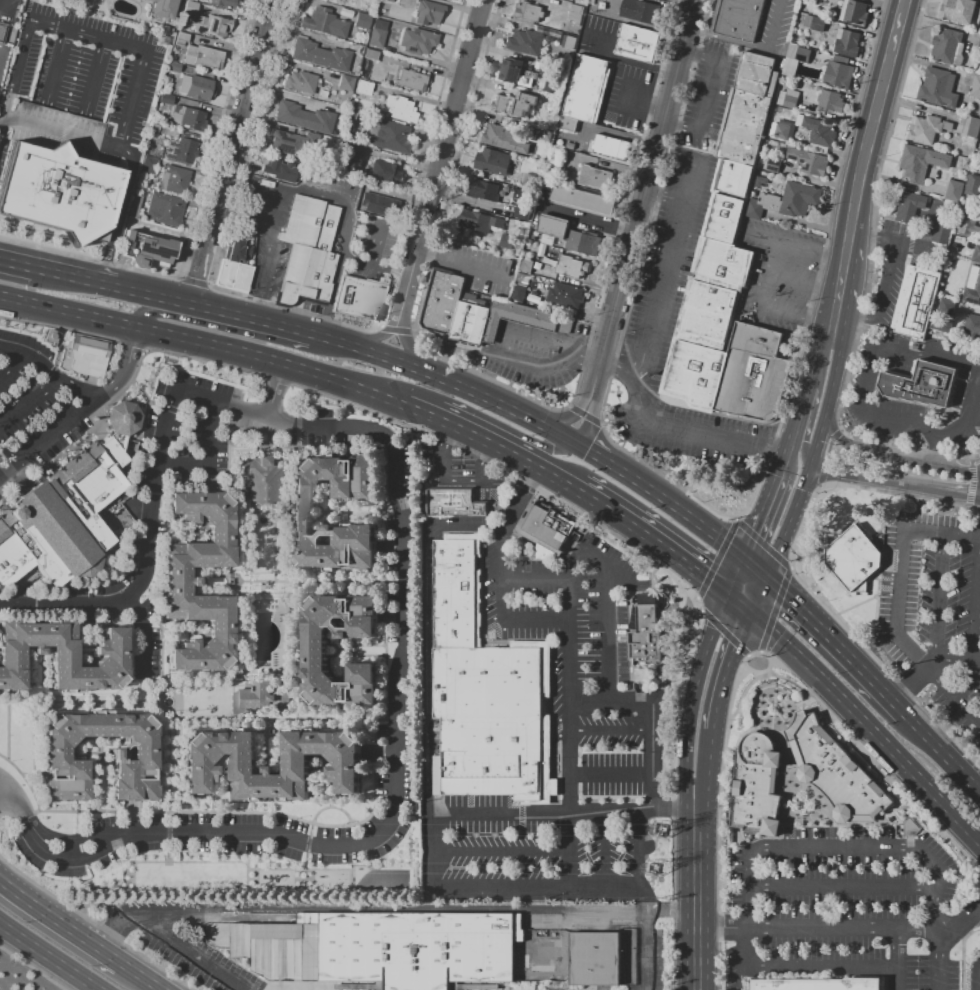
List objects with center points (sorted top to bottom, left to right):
building: (388, 0)
building: (225, 4)
road: (4, 8)
building: (162, 8)
building: (191, 9)
building: (640, 10)
building: (958, 11)
building: (529, 12)
building: (427, 13)
building: (576, 13)
building: (856, 13)
building: (738, 19)
building: (362, 21)
building: (323, 23)
building: (820, 25)
building: (212, 26)
road: (84, 33)
building: (377, 33)
building: (5, 37)
building: (182, 38)
building: (416, 42)
building: (526, 42)
building: (637, 43)
building: (847, 43)
building: (978, 44)
road: (749, 45)
building: (948, 47)
building: (370, 54)
building: (320, 55)
building: (805, 56)
building: (203, 57)
road: (57, 62)
building: (173, 67)
building: (513, 73)
road: (96, 75)
building: (838, 75)
building: (409, 81)
building: (298, 82)
building: (345, 83)
building: (975, 87)
building: (363, 88)
building: (585, 88)
building: (938, 88)
building: (200, 89)
building: (787, 98)
road: (706, 101)
building: (831, 101)
building: (516, 105)
building: (399, 109)
building: (747, 110)
building: (303, 118)
building: (190, 120)
road: (877, 122)
building: (567, 123)
road: (673, 125)
building: (971, 127)
building: (924, 129)
building: (782, 130)
building: (818, 132)
road: (62, 133)
road: (615, 134)
building: (545, 136)
building: (387, 137)
building: (497, 138)
building: (291, 143)
building: (611, 146)
road: (230, 150)
building: (180, 151)
building: (351, 158)
building: (493, 161)
building: (915, 163)
building: (815, 164)
road: (441, 165)
building: (148, 166)
building: (773, 166)
building: (279, 171)
building: (385, 172)
building: (315, 173)
building: (599, 175)
building: (734, 179)
building: (174, 180)
building: (531, 180)
building: (761, 181)
building: (597, 184)
building: (973, 186)
building: (954, 190)
building: (58, 191)
building: (485, 191)
building: (521, 196)
road: (642, 197)
road: (667, 198)
building: (799, 199)
road: (469, 201)
building: (583, 201)
building: (373, 203)
building: (762, 205)
building: (909, 206)
building: (164, 209)
road: (119, 213)
building: (521, 213)
building: (724, 218)
road: (587, 219)
building: (482, 222)
building: (309, 224)
road: (349, 226)
building: (968, 227)
building: (940, 232)
building: (569, 235)
road: (873, 237)
building: (372, 239)
road: (784, 243)
building: (962, 243)
road: (272, 244)
building: (146, 248)
building: (237, 251)
building: (976, 254)
road: (834, 257)
road: (18, 262)
road: (376, 264)
building: (722, 264)
building: (957, 266)
building: (570, 267)
road: (766, 272)
road: (672, 273)
building: (226, 274)
building: (306, 276)
building: (242, 278)
road: (89, 279)
road: (791, 280)
road: (841, 286)
road: (828, 291)
building: (519, 292)
building: (973, 293)
building: (565, 295)
road: (330, 296)
road: (879, 298)
building: (361, 299)
building: (435, 301)
building: (916, 301)
building: (451, 306)
road: (259, 309)
road: (228, 310)
road: (148, 312)
road: (784, 312)
building: (705, 315)
building: (943, 316)
building: (520, 320)
road: (821, 323)
building: (472, 325)
building: (972, 327)
road: (513, 335)
building: (52, 336)
road: (376, 339)
road: (204, 347)
road: (412, 350)
road: (928, 352)
building: (60, 354)
building: (89, 355)
road: (614, 360)
road: (812, 362)
road: (837, 364)
road: (10, 365)
road: (46, 373)
building: (693, 374)
building: (753, 374)
road: (447, 379)
building: (921, 384)
road: (275, 392)
road: (28, 402)
road: (79, 408)
parking lot: (41, 409)
traffic signals: (577, 415)
building: (124, 418)
road: (562, 419)
road: (590, 421)
road: (671, 427)
road: (912, 430)
road: (474, 431)
road: (820, 434)
road: (794, 435)
road: (801, 437)
road: (553, 448)
traffic signals: (549, 450)
traffic signals: (801, 450)
road: (591, 452)
traffic signals: (592, 453)
road: (770, 453)
road: (889, 456)
road: (209, 461)
parking lot: (458, 467)
road: (559, 477)
building: (261, 480)
road: (892, 480)
road: (455, 483)
road: (977, 491)
traffic signals: (804, 492)
building: (456, 502)
road: (678, 512)
building: (299, 513)
road: (766, 516)
building: (66, 517)
road: (791, 524)
road: (632, 525)
building: (549, 528)
building: (852, 558)
traffic signals: (746, 564)
road: (902, 569)
road: (756, 572)
road: (707, 579)
road: (738, 580)
building: (180, 581)
road: (557, 581)
traffic signals: (767, 581)
road: (134, 591)
traffic signals: (730, 597)
road: (760, 597)
road: (942, 599)
road: (610, 601)
road: (741, 605)
road: (66, 607)
parking lot: (935, 610)
road: (975, 610)
traffic signals: (753, 614)
road: (546, 623)
building: (649, 636)
road: (406, 639)
road: (143, 642)
road: (788, 644)
road: (840, 644)
building: (314, 649)
building: (65, 657)
road: (735, 657)
building: (85, 658)
road: (932, 666)
road: (702, 667)
road: (970, 688)
building: (485, 690)
road: (954, 696)
building: (260, 698)
road: (654, 711)
parking lot: (600, 718)
road: (979, 721)
road: (715, 722)
road: (613, 730)
building: (136, 748)
road: (944, 751)
road: (901, 756)
road: (613, 763)
building: (243, 764)
building: (835, 772)
road: (695, 773)
road: (705, 773)
building: (757, 787)
road: (4, 795)
road: (567, 812)
building: (908, 826)
power tower: (662, 831)
road: (836, 846)
road: (640, 847)
road: (571, 848)
road: (606, 848)
road: (436, 849)
road: (503, 852)
power tower: (657, 870)
road: (538, 885)
road: (843, 887)
road: (697, 896)
road: (644, 897)
parking lot: (847, 909)
road: (979, 912)
road: (60, 921)
road: (843, 924)
road: (648, 925)
road: (717, 926)
road: (168, 942)
building: (386, 949)
road: (51, 955)
road: (964, 955)
road: (894, 956)
building: (604, 957)
road: (938, 967)
road: (816, 968)
road: (144, 976)
road: (978, 978)
building: (819, 984)

